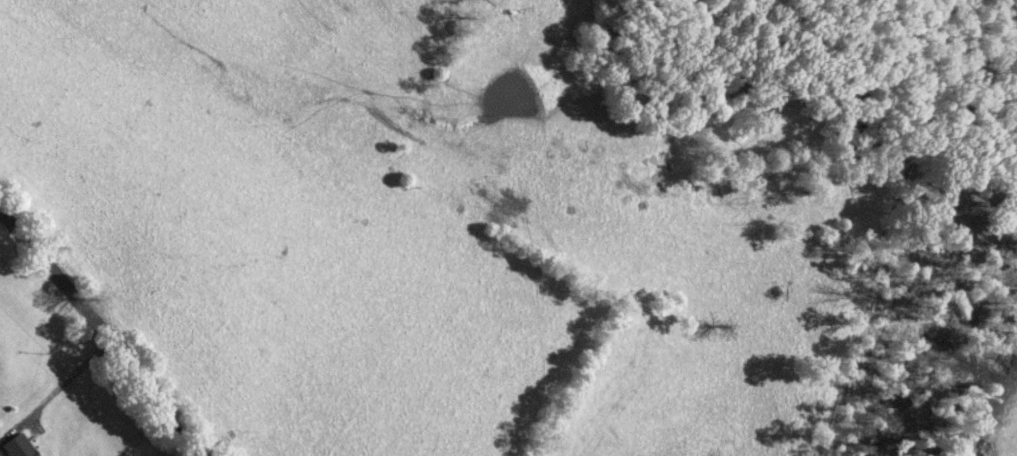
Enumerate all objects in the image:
road: (100, 332)
building: (20, 446)

